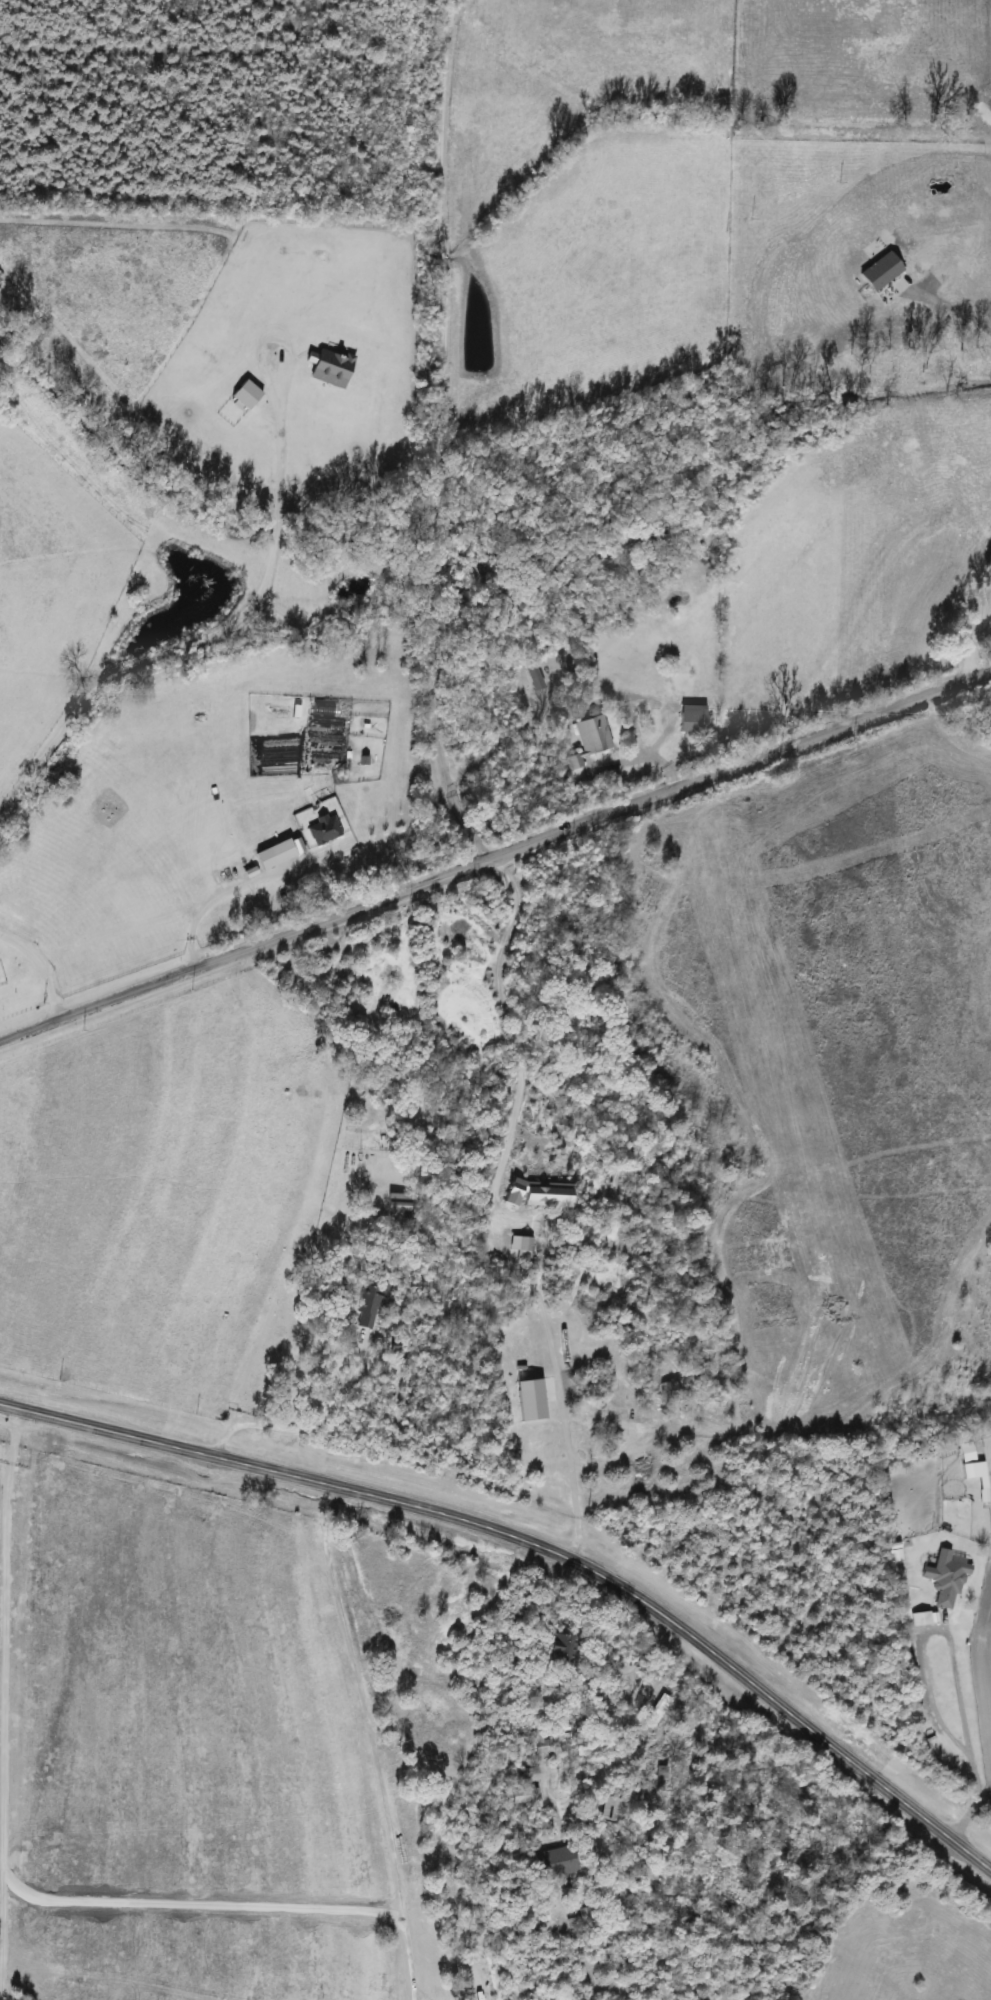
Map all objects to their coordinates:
road: (970, 316)
building: (336, 370)
building: (251, 396)
road: (435, 436)
road: (977, 610)
road: (216, 631)
building: (589, 733)
road: (496, 858)
road: (218, 897)
road: (43, 966)
road: (514, 1042)
building: (534, 1195)
building: (399, 1205)
building: (519, 1246)
road: (294, 1428)
road: (566, 1434)
building: (966, 1460)
road: (539, 1543)
building: (942, 1580)
building: (556, 1648)
road: (948, 1659)
road: (373, 1740)
building: (518, 1798)
building: (615, 1809)
building: (547, 1862)

